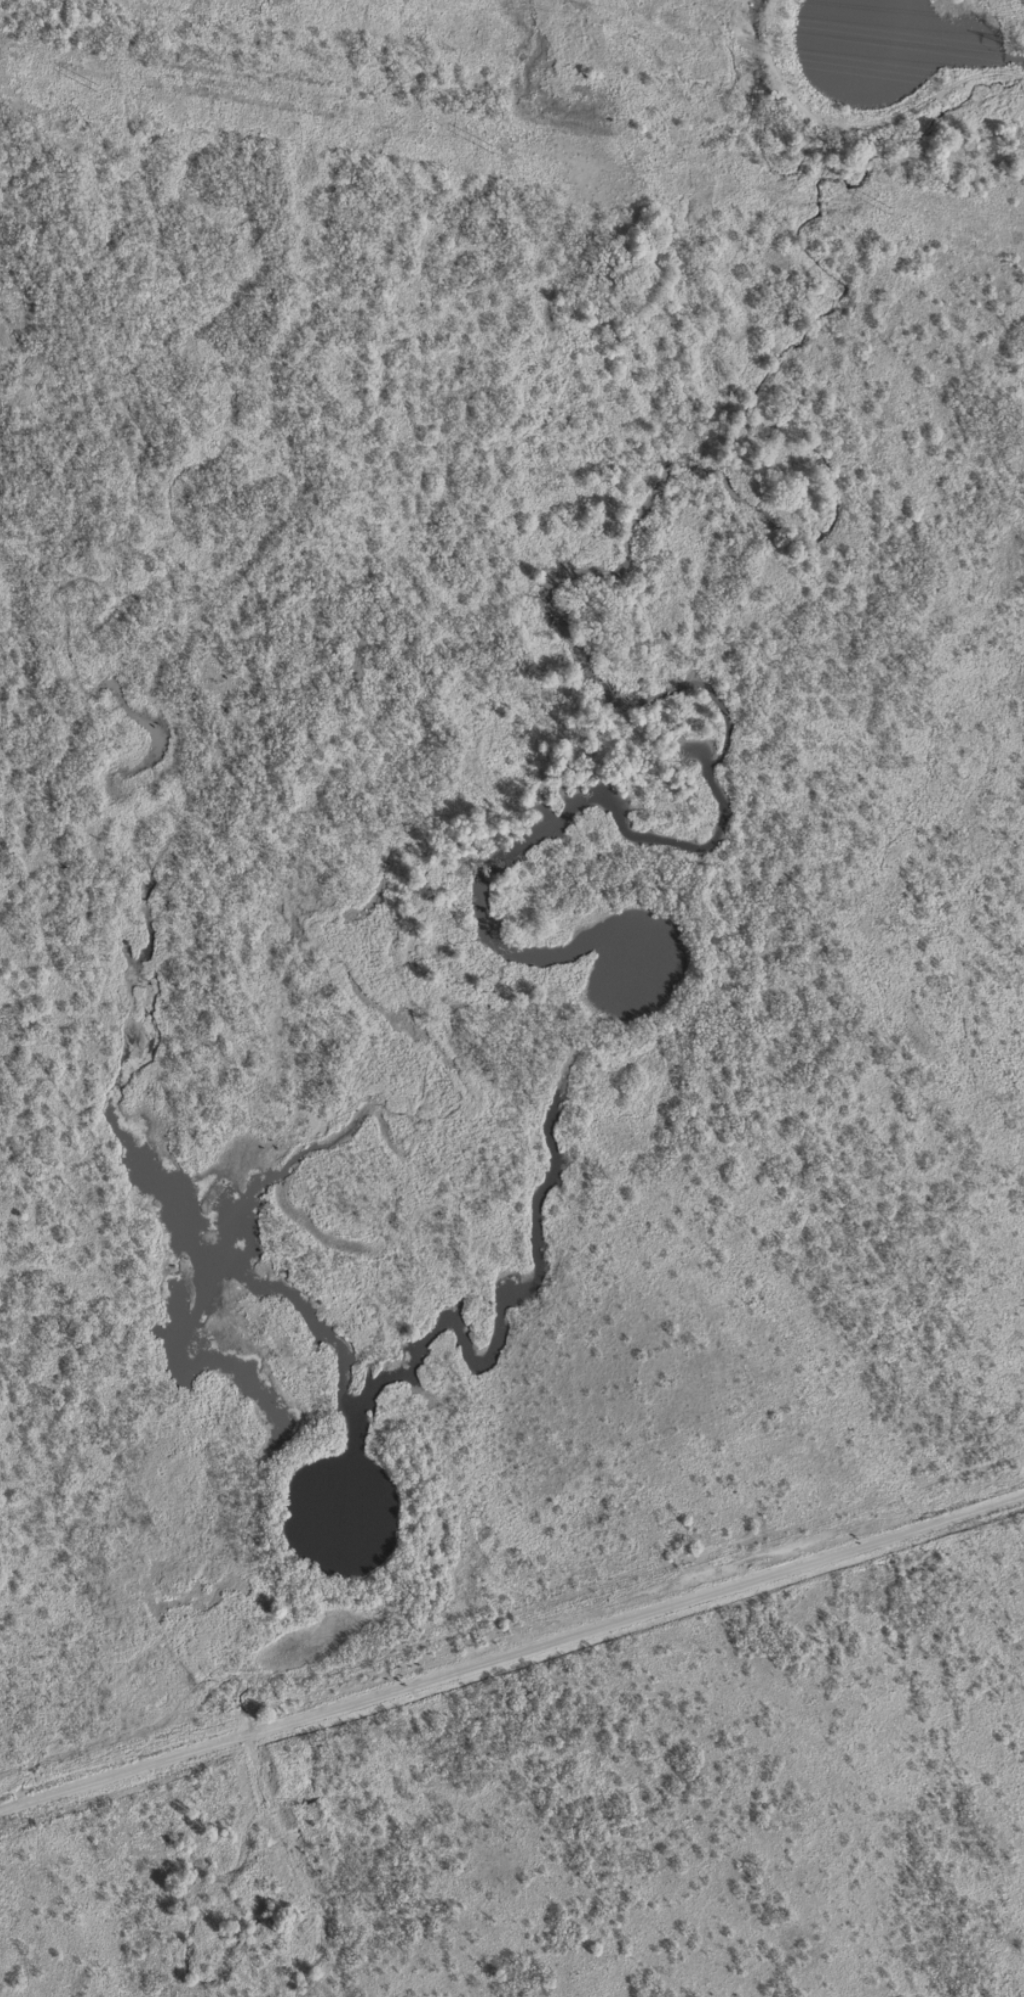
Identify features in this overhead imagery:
power tower: (87, 87)
power tower: (480, 148)
power tower: (881, 208)
road: (511, 1653)

